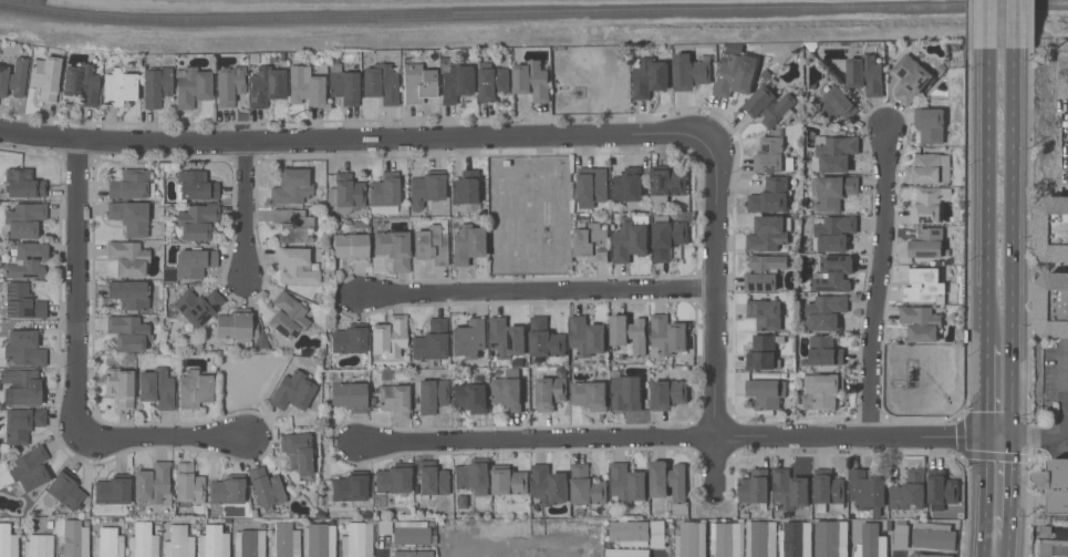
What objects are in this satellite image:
railway: (533, 12)
road: (987, 24)
road: (1015, 24)
building: (691, 72)
building: (865, 74)
building: (736, 75)
building: (13, 76)
building: (45, 76)
building: (650, 78)
building: (910, 78)
building: (532, 80)
building: (457, 81)
building: (494, 82)
building: (81, 83)
building: (381, 83)
building: (418, 83)
building: (229, 84)
building: (343, 84)
building: (156, 85)
building: (191, 85)
building: (267, 85)
building: (305, 85)
building: (120, 86)
building: (836, 104)
building: (769, 105)
building: (930, 124)
road: (40, 134)
road: (396, 140)
building: (833, 153)
building: (769, 155)
road: (543, 167)
building: (923, 168)
building: (23, 183)
building: (131, 184)
building: (666, 184)
building: (195, 185)
building: (628, 185)
building: (291, 186)
building: (426, 187)
building: (466, 187)
building: (591, 187)
road: (1064, 189)
building: (834, 190)
building: (345, 192)
building: (384, 192)
building: (770, 195)
road: (987, 196)
building: (927, 204)
road: (248, 210)
building: (129, 216)
building: (24, 219)
building: (197, 220)
building: (291, 224)
building: (1053, 228)
building: (769, 233)
building: (833, 233)
building: (667, 237)
building: (631, 239)
building: (433, 243)
building: (592, 243)
building: (926, 243)
road: (1014, 243)
building: (469, 244)
building: (351, 247)
building: (394, 248)
building: (127, 257)
building: (28, 260)
building: (194, 261)
building: (295, 266)
building: (765, 272)
building: (834, 274)
road: (881, 281)
road: (79, 285)
building: (925, 285)
road: (538, 291)
building: (128, 293)
building: (22, 301)
building: (1053, 305)
building: (197, 306)
building: (826, 311)
building: (766, 313)
building: (288, 314)
road: (716, 314)
building: (921, 322)
building: (240, 328)
building: (128, 331)
building: (630, 332)
building: (390, 336)
building: (588, 336)
building: (667, 336)
building: (350, 338)
building: (469, 338)
building: (507, 338)
building: (546, 338)
building: (432, 340)
building: (23, 348)
building: (825, 350)
building: (761, 353)
petroleum well: (910, 375)
building: (22, 385)
building: (120, 385)
building: (157, 386)
building: (195, 388)
building: (292, 390)
building: (508, 390)
building: (626, 391)
building: (822, 391)
road: (986, 391)
building: (551, 392)
building: (766, 392)
building: (668, 393)
building: (432, 394)
building: (590, 394)
building: (350, 395)
building: (470, 396)
building: (395, 399)
building: (22, 423)
road: (164, 437)
road: (685, 437)
traffic signals: (986, 437)
traffic signals: (1013, 437)
road: (1054, 437)
building: (297, 452)
building: (29, 470)
building: (474, 475)
building: (393, 478)
building: (432, 478)
building: (668, 479)
building: (510, 481)
road: (1012, 482)
building: (153, 483)
building: (188, 483)
building: (628, 483)
building: (549, 484)
building: (1056, 484)
building: (350, 486)
building: (755, 486)
building: (65, 487)
building: (266, 487)
building: (227, 489)
building: (585, 489)
building: (789, 489)
building: (828, 489)
building: (942, 489)
building: (113, 491)
building: (868, 491)
building: (910, 492)
road: (984, 497)
building: (384, 526)
building: (657, 528)
building: (411, 532)
building: (629, 533)
building: (1061, 533)
building: (901, 534)
building: (934, 536)
building: (74, 538)
building: (357, 538)
building: (725, 538)
building: (760, 538)
building: (319, 539)
building: (691, 539)
building: (796, 539)
building: (8, 540)
building: (143, 540)
building: (284, 540)
building: (108, 541)
building: (179, 541)
building: (215, 541)
building: (871, 541)
road: (1008, 541)
building: (249, 543)
building: (830, 543)
building: (39, 545)
building: (1051, 548)
building: (413, 553)
building: (626, 553)
building: (929, 555)

